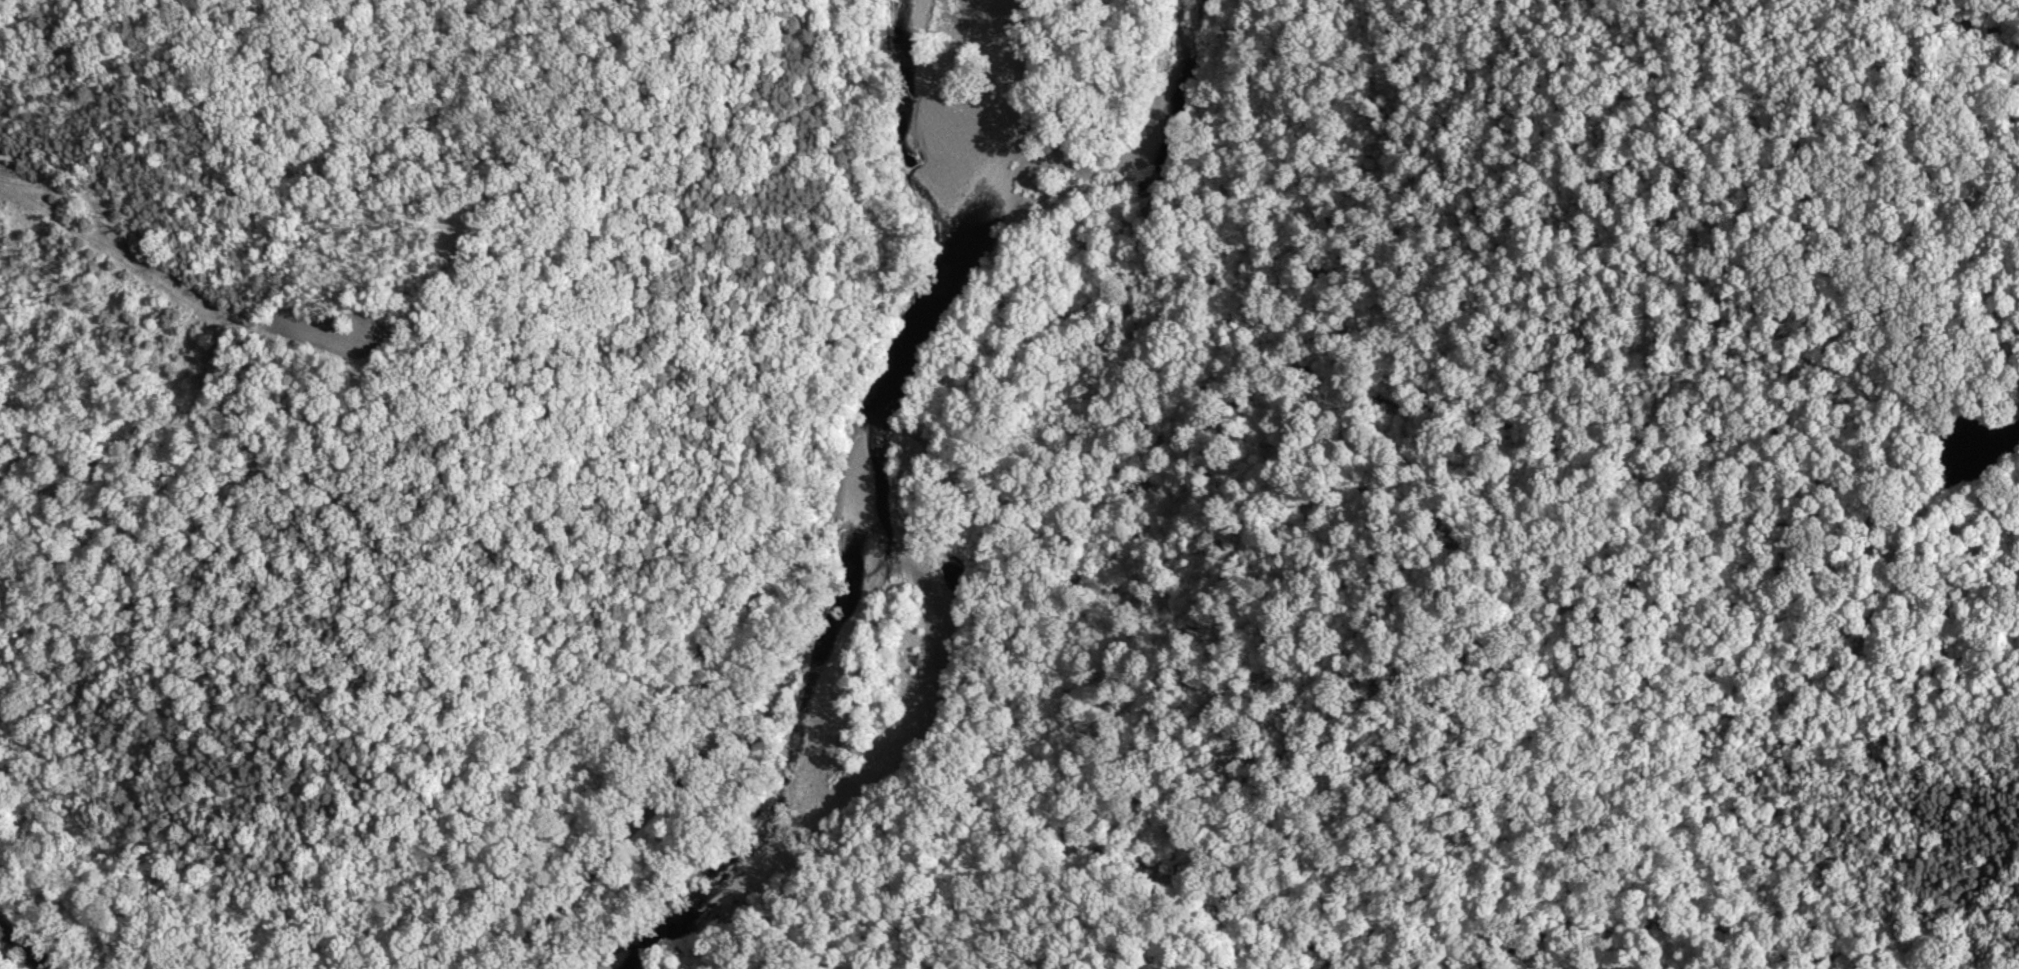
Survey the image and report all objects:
road: (1977, 15)

